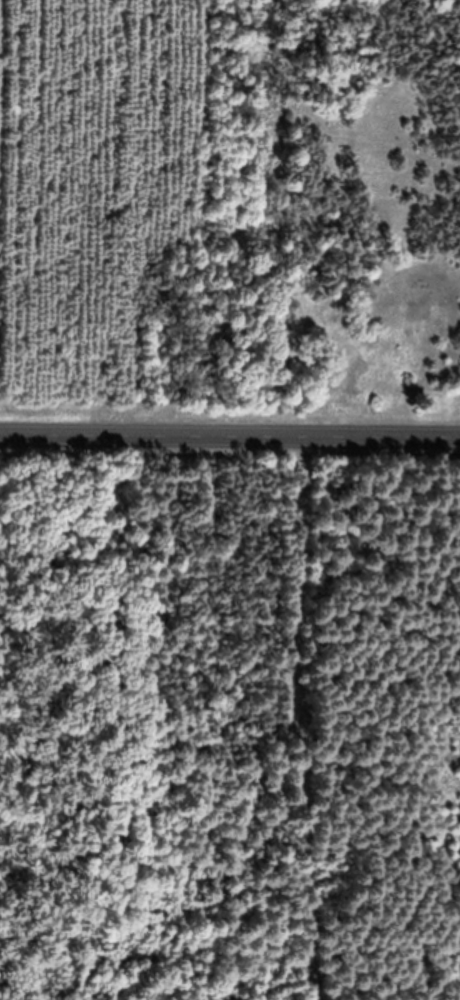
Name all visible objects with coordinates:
road: (230, 437)

